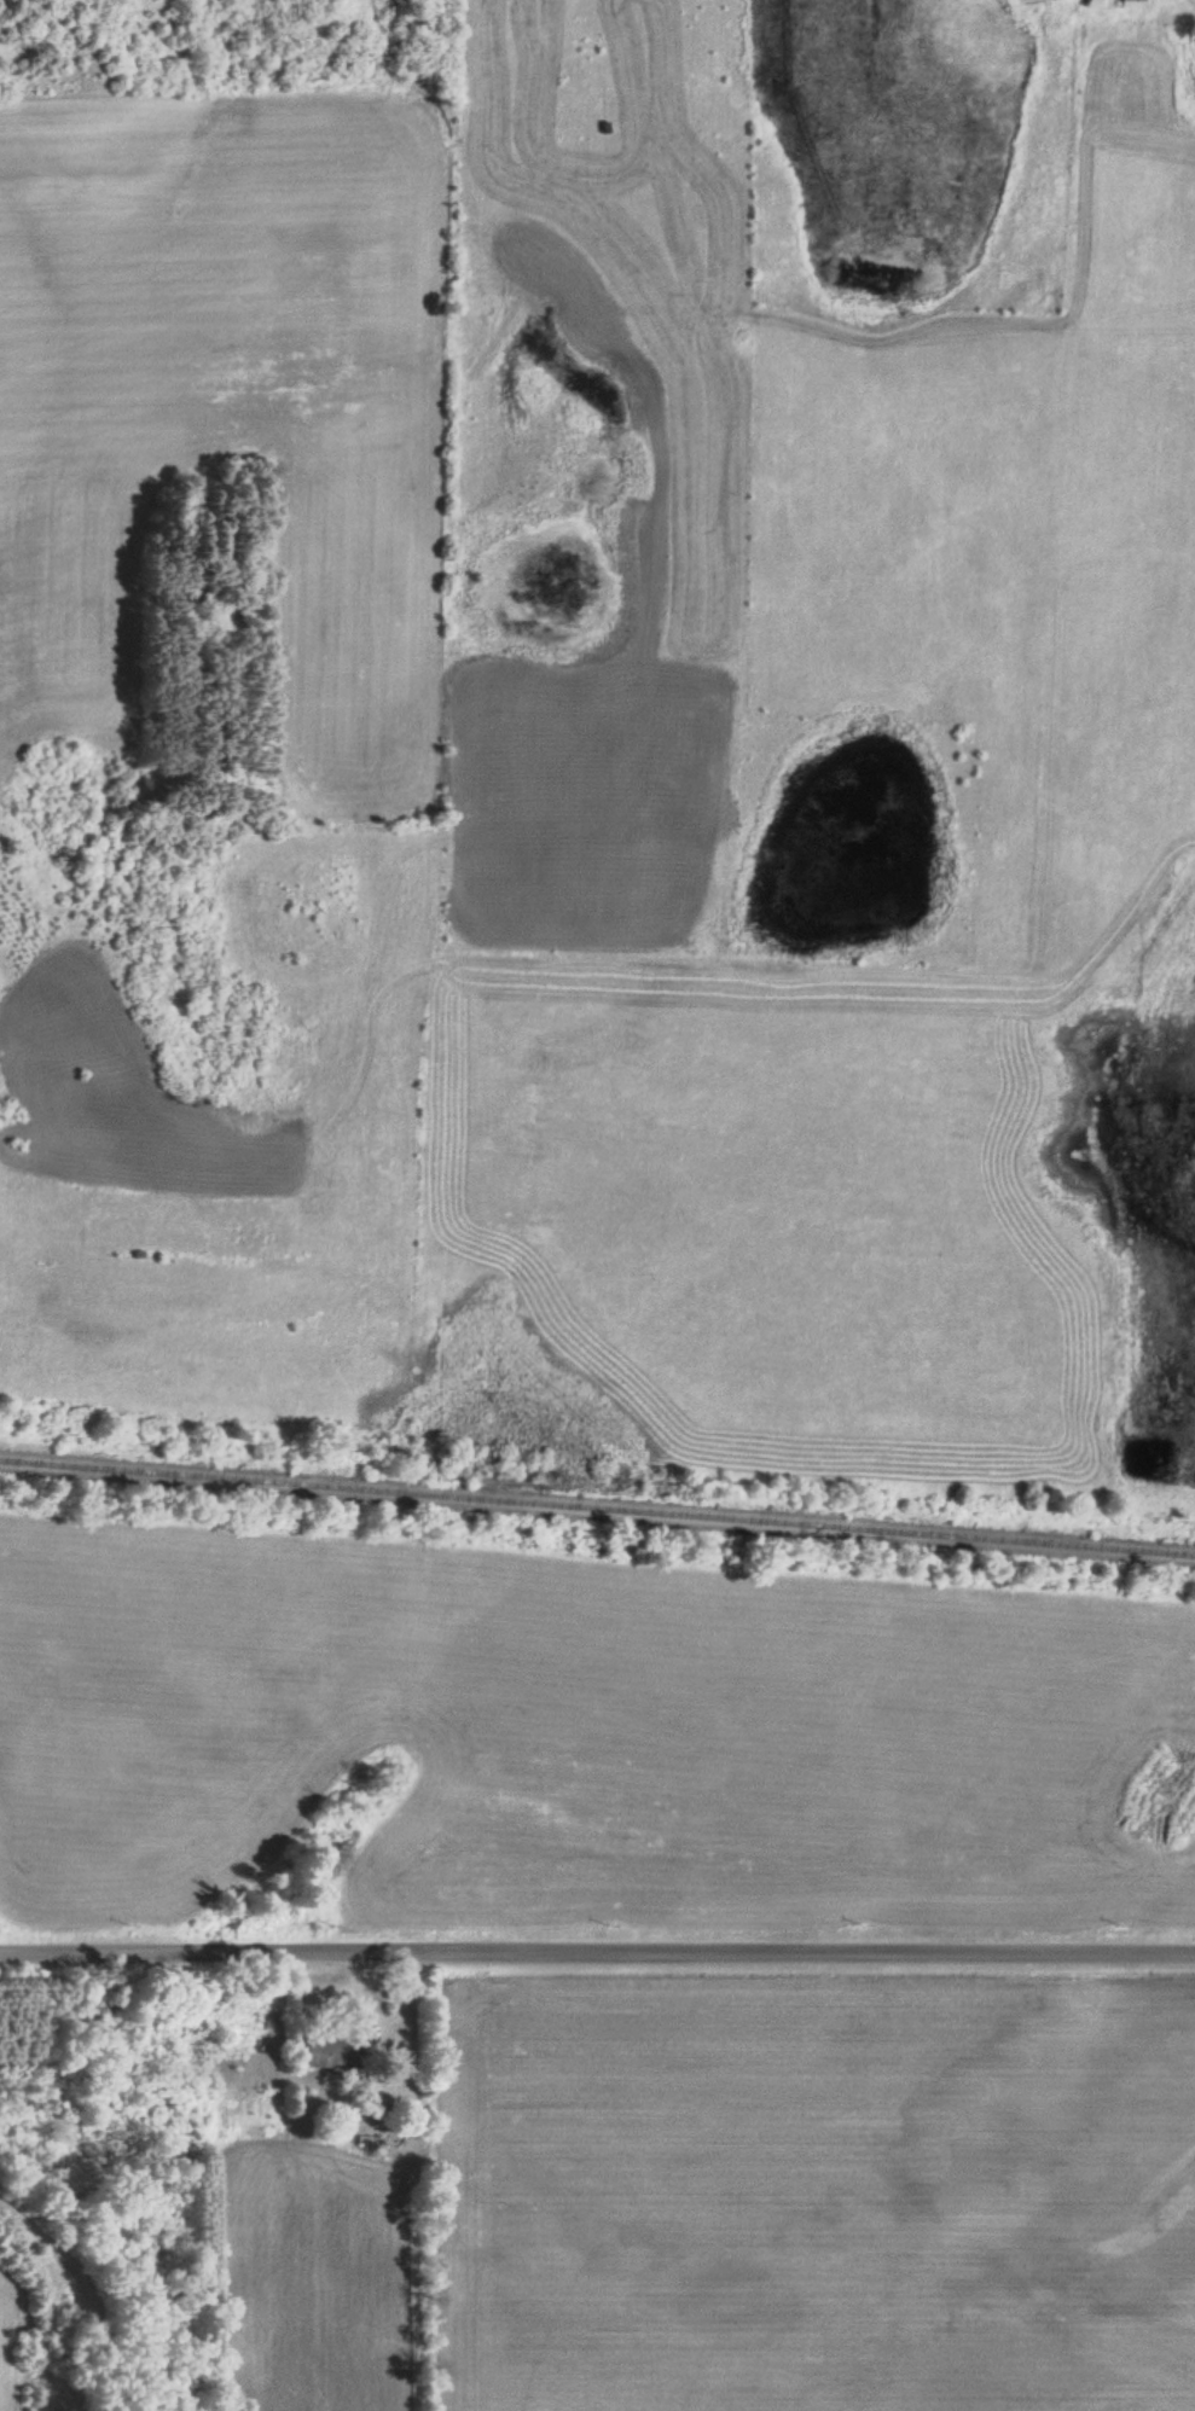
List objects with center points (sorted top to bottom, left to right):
building: (1107, 2)
railway: (597, 1503)
road: (597, 1946)
building: (326, 2055)

